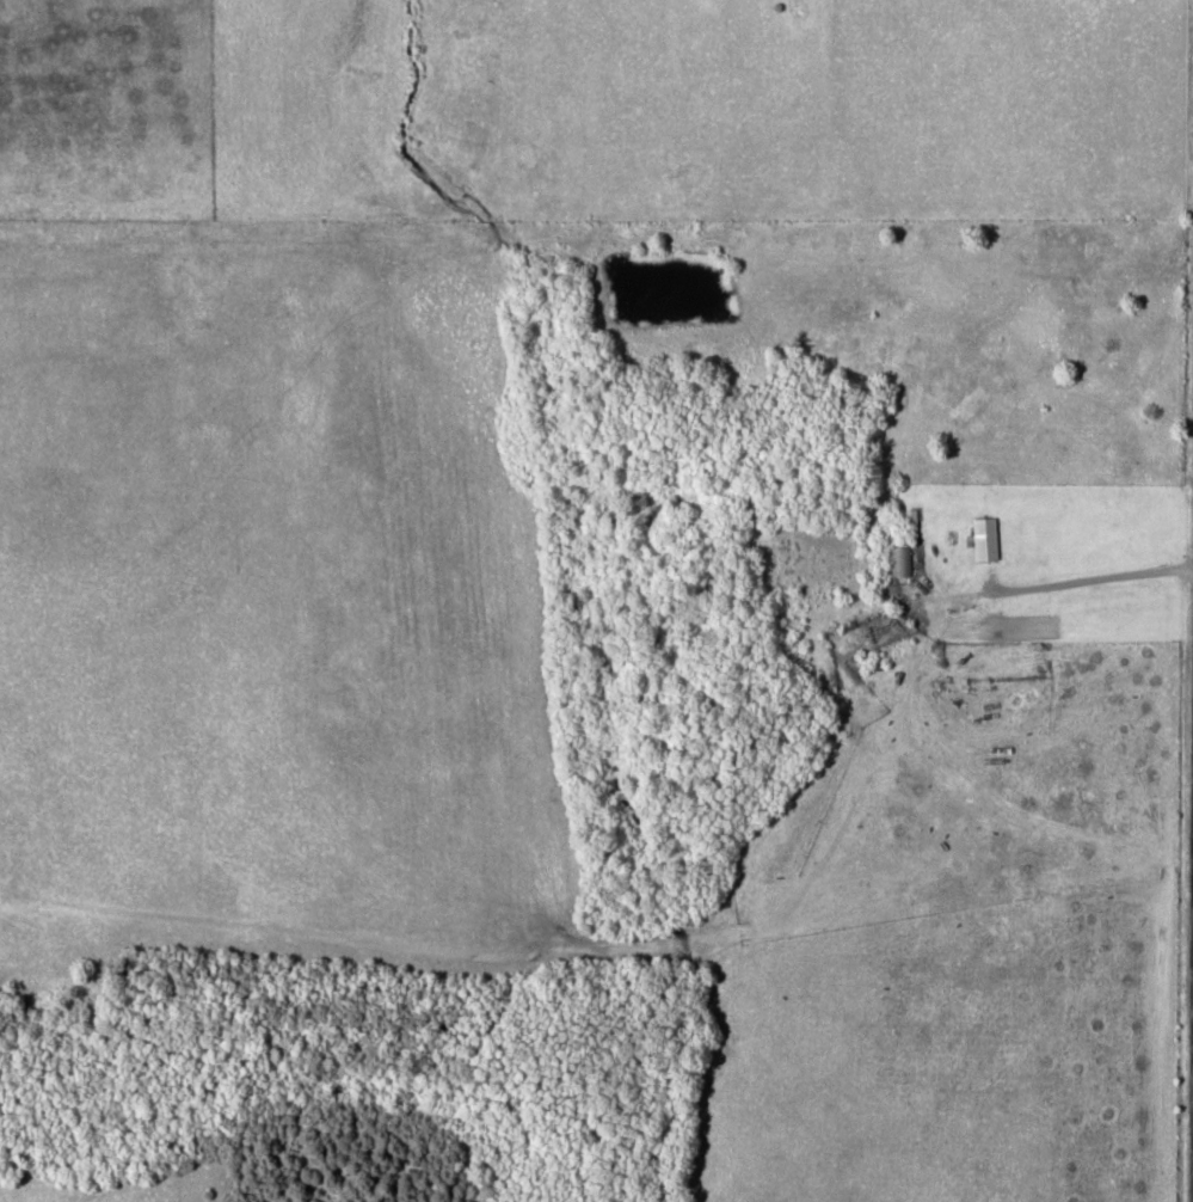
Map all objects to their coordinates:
building: (849, 339)
building: (980, 428)
building: (988, 538)
building: (900, 559)

